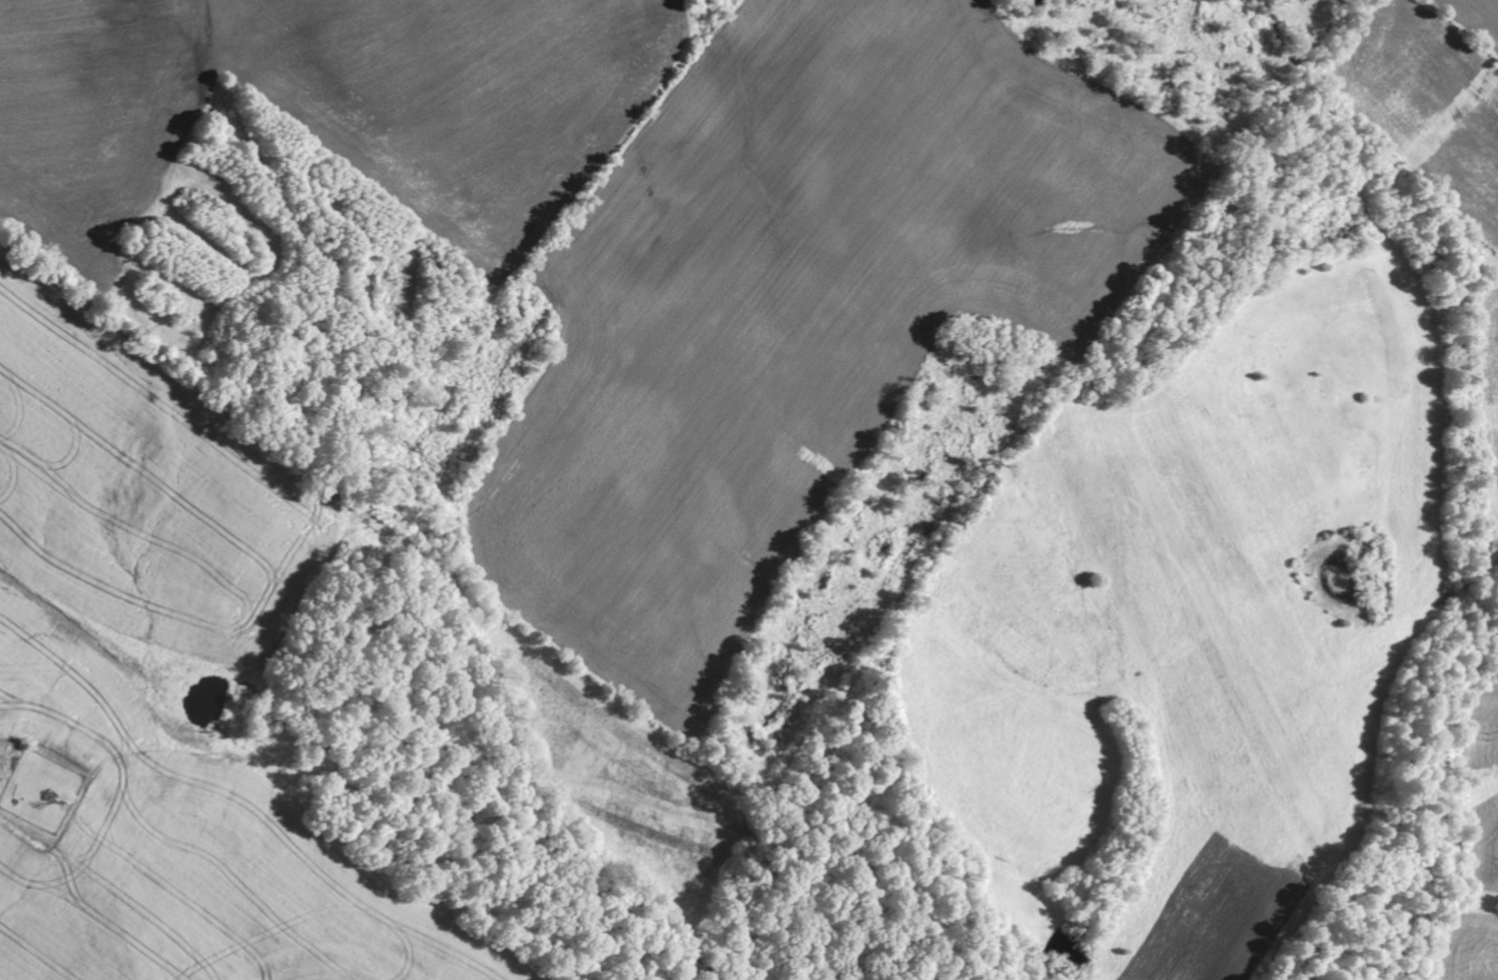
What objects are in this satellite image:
park: (39, 791)

